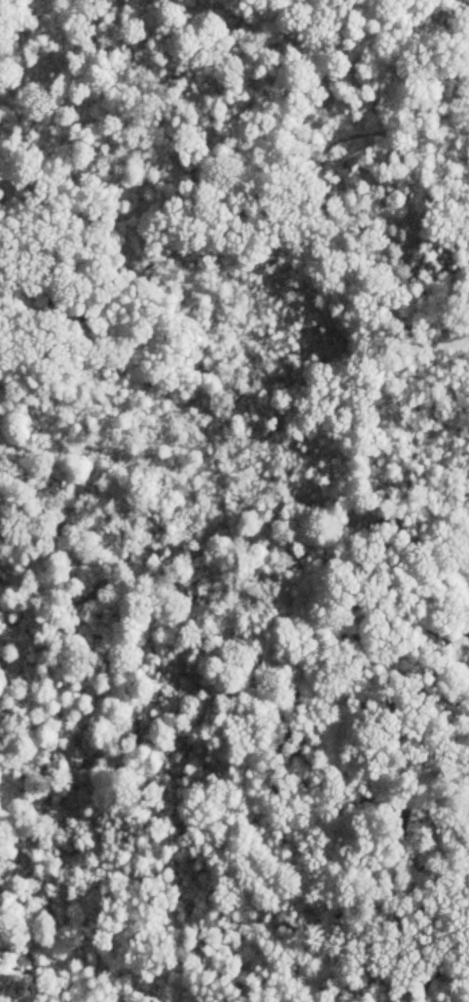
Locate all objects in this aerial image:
road: (244, 210)
road: (99, 359)
road: (199, 385)
park: (191, 475)

